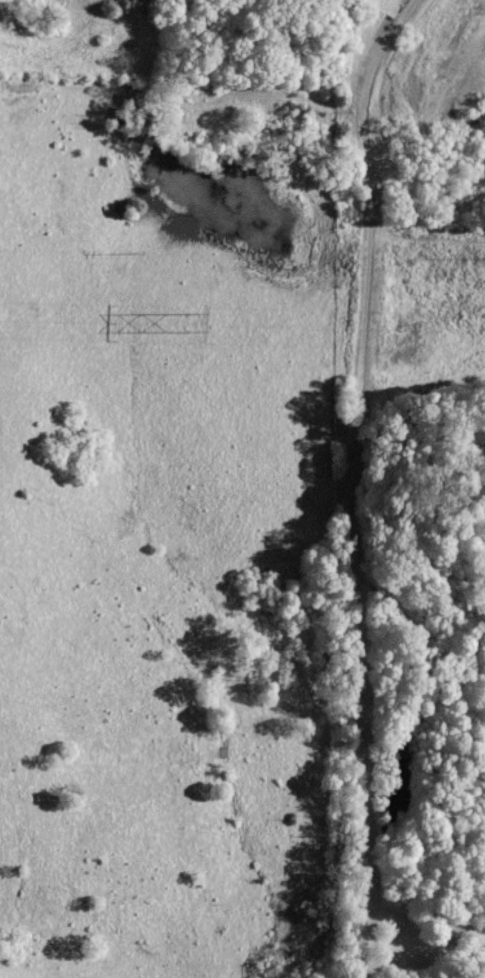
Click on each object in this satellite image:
power tower: (186, 321)
road: (351, 481)
road: (425, 915)

